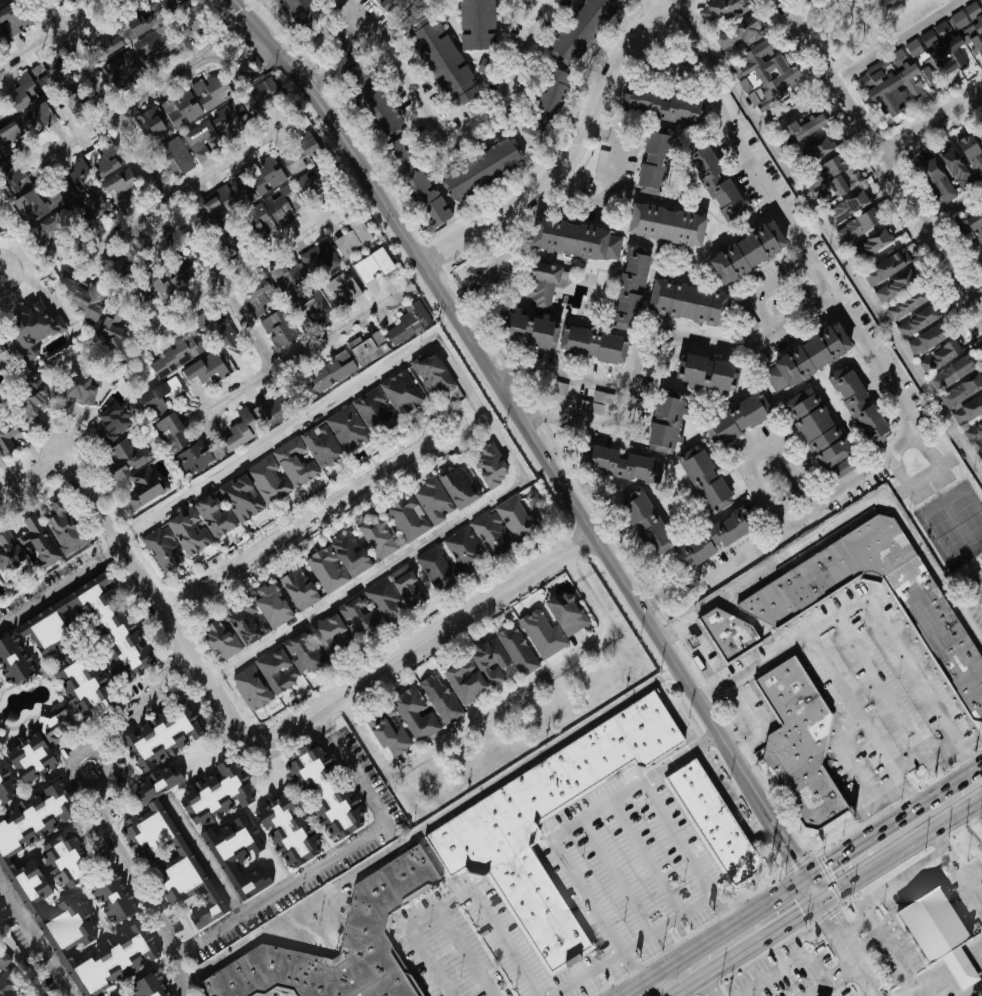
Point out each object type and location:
building: (528, 0)
building: (888, 1)
road: (953, 1)
building: (385, 3)
building: (296, 6)
road: (350, 6)
road: (651, 6)
building: (720, 9)
building: (14, 18)
building: (189, 22)
building: (477, 24)
building: (131, 25)
building: (970, 25)
road: (353, 28)
building: (582, 28)
road: (229, 30)
building: (740, 31)
road: (53, 33)
building: (1, 34)
building: (103, 38)
road: (896, 40)
building: (155, 44)
road: (316, 50)
road: (204, 52)
building: (443, 61)
road: (271, 62)
road: (230, 63)
building: (119, 64)
road: (329, 65)
building: (928, 73)
building: (764, 74)
building: (891, 81)
building: (28, 86)
building: (258, 95)
building: (543, 105)
road: (123, 106)
building: (659, 106)
building: (183, 107)
building: (66, 108)
building: (228, 119)
road: (930, 120)
building: (38, 121)
building: (980, 132)
road: (461, 133)
building: (6, 136)
building: (200, 140)
building: (815, 148)
road: (572, 154)
building: (970, 154)
building: (399, 155)
building: (174, 157)
road: (882, 159)
building: (285, 160)
building: (653, 160)
building: (85, 168)
building: (480, 168)
building: (955, 168)
building: (823, 171)
building: (11, 180)
building: (936, 180)
building: (310, 181)
building: (713, 181)
road: (613, 182)
road: (158, 183)
building: (117, 187)
building: (833, 187)
road: (180, 189)
building: (218, 201)
road: (952, 206)
building: (282, 207)
building: (844, 207)
building: (36, 210)
building: (663, 225)
building: (972, 231)
building: (863, 233)
building: (349, 240)
building: (574, 240)
road: (829, 240)
building: (744, 252)
building: (319, 260)
building: (371, 265)
building: (884, 267)
building: (286, 272)
road: (239, 273)
road: (490, 273)
building: (164, 279)
road: (767, 285)
building: (894, 286)
building: (627, 289)
building: (341, 290)
road: (975, 292)
building: (256, 298)
building: (685, 302)
building: (905, 304)
building: (308, 309)
building: (743, 317)
building: (915, 321)
building: (407, 322)
building: (552, 324)
building: (31, 326)
building: (109, 326)
building: (276, 328)
road: (654, 334)
building: (926, 339)
building: (366, 348)
road: (299, 352)
building: (0, 353)
building: (174, 355)
road: (881, 356)
building: (804, 358)
building: (205, 367)
road: (557, 372)
building: (705, 373)
building: (950, 373)
building: (327, 374)
building: (431, 374)
building: (80, 388)
building: (961, 391)
building: (400, 392)
building: (155, 399)
road: (337, 399)
building: (29, 404)
building: (860, 411)
building: (266, 412)
building: (374, 413)
building: (736, 419)
building: (113, 421)
building: (666, 424)
building: (972, 426)
building: (346, 430)
building: (237, 431)
building: (170, 432)
building: (817, 434)
building: (6, 437)
road: (534, 443)
building: (320, 447)
road: (755, 453)
building: (125, 458)
building: (192, 458)
building: (293, 463)
building: (489, 464)
building: (619, 464)
road: (29, 476)
building: (702, 479)
building: (266, 481)
building: (140, 485)
building: (458, 487)
building: (431, 500)
building: (227, 506)
road: (859, 514)
building: (405, 518)
building: (515, 518)
road: (302, 522)
building: (643, 522)
building: (187, 531)
building: (489, 533)
building: (46, 537)
building: (376, 538)
building: (709, 540)
building: (161, 549)
road: (110, 552)
building: (8, 553)
building: (468, 560)
building: (336, 563)
road: (359, 581)
building: (296, 589)
road: (52, 591)
building: (393, 594)
building: (769, 597)
road: (867, 603)
building: (257, 614)
building: (358, 619)
road: (453, 621)
building: (567, 626)
building: (93, 629)
building: (326, 633)
road: (172, 634)
building: (219, 640)
road: (693, 645)
building: (515, 650)
building: (302, 652)
building: (13, 660)
road: (174, 663)
building: (275, 671)
building: (476, 672)
road: (187, 683)
road: (152, 686)
building: (249, 688)
building: (78, 698)
building: (438, 699)
road: (500, 704)
building: (413, 713)
road: (321, 720)
road: (864, 721)
road: (752, 725)
building: (386, 731)
building: (49, 737)
building: (797, 740)
road: (927, 752)
building: (29, 759)
road: (981, 769)
building: (5, 788)
building: (323, 792)
building: (214, 793)
road: (98, 808)
building: (716, 821)
road: (972, 821)
road: (893, 823)
road: (561, 829)
building: (482, 831)
building: (285, 832)
building: (30, 837)
road: (900, 847)
building: (166, 849)
road: (686, 850)
building: (235, 856)
traffic signals: (793, 856)
road: (644, 857)
building: (58, 862)
road: (209, 863)
traffic signals: (828, 863)
road: (956, 866)
road: (305, 873)
road: (614, 876)
road: (899, 879)
road: (460, 897)
building: (111, 899)
traffic signals: (802, 910)
traffic signals: (829, 913)
road: (669, 921)
building: (367, 923)
building: (69, 925)
road: (719, 930)
road: (760, 936)
building: (935, 938)
road: (34, 941)
road: (885, 942)
road: (849, 947)
road: (466, 953)
building: (114, 958)
road: (796, 961)
road: (588, 973)
road: (834, 976)
road: (954, 976)
building: (6, 978)
building: (147, 985)
road: (684, 985)
road: (707, 985)
road: (626, 991)
building: (121, 995)

